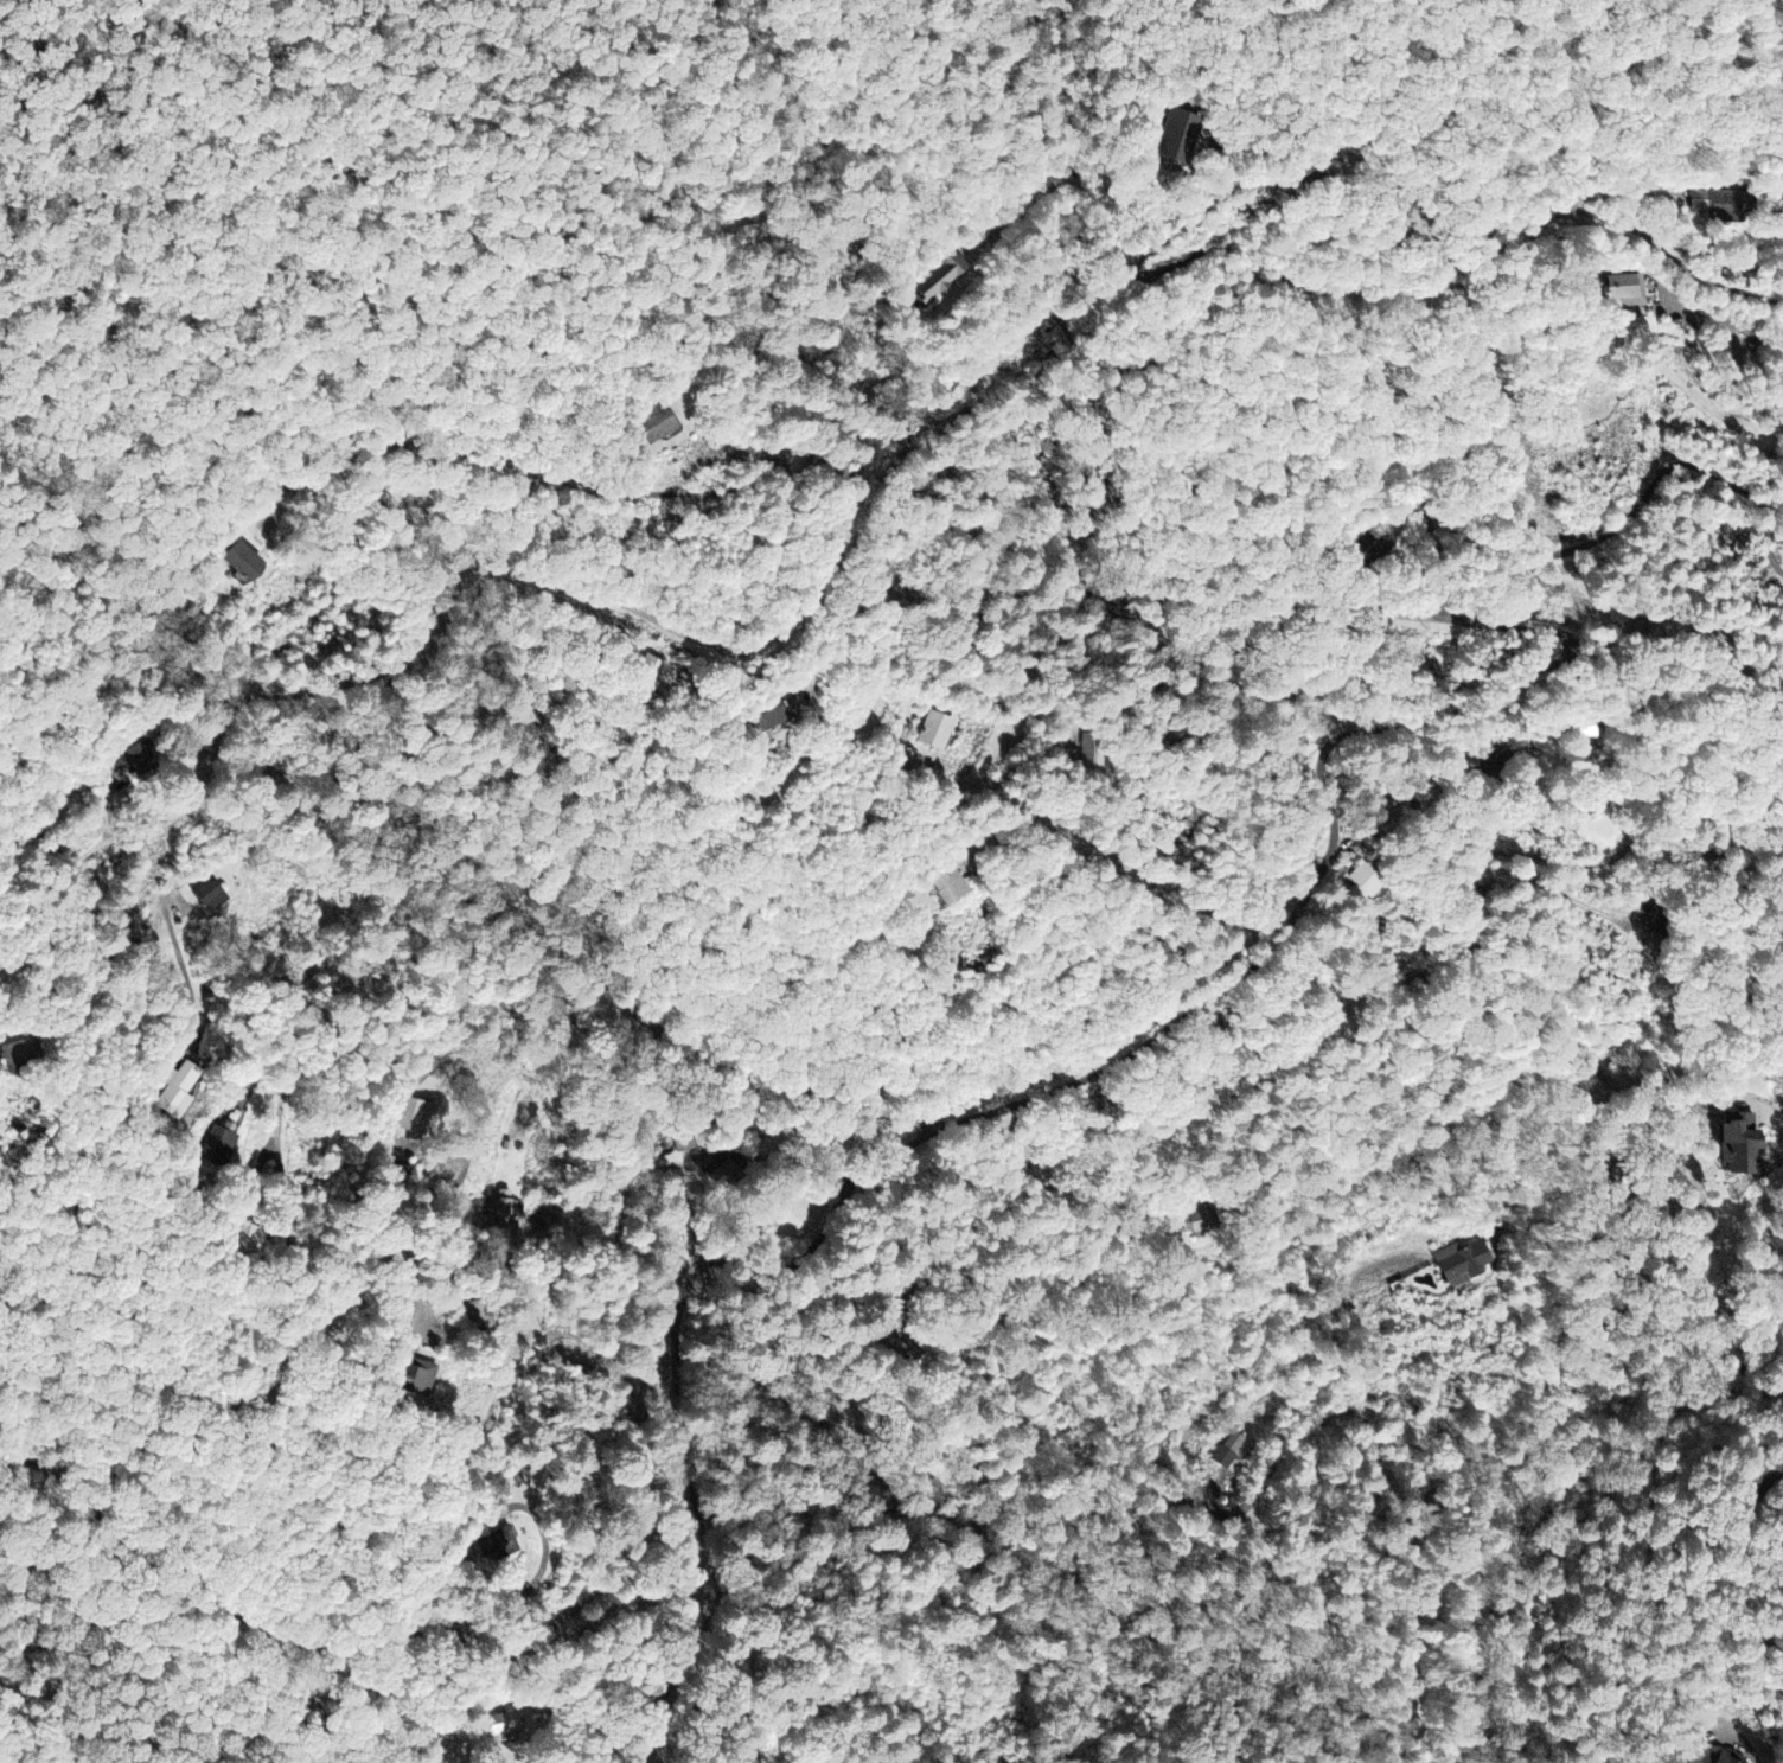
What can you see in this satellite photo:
building: (1183, 139)
road: (1258, 171)
building: (1727, 205)
road: (614, 267)
road: (685, 359)
road: (445, 477)
road: (793, 497)
road: (1621, 524)
building: (251, 566)
road: (1346, 586)
building: (939, 733)
road: (263, 807)
road: (1489, 855)
road: (1245, 970)
road: (537, 1047)
road: (127, 1096)
building: (1737, 1143)
road: (1059, 1173)
road: (822, 1229)
building: (1465, 1264)
road: (286, 1356)
road: (707, 1527)
road: (1742, 1563)
road: (450, 1636)

